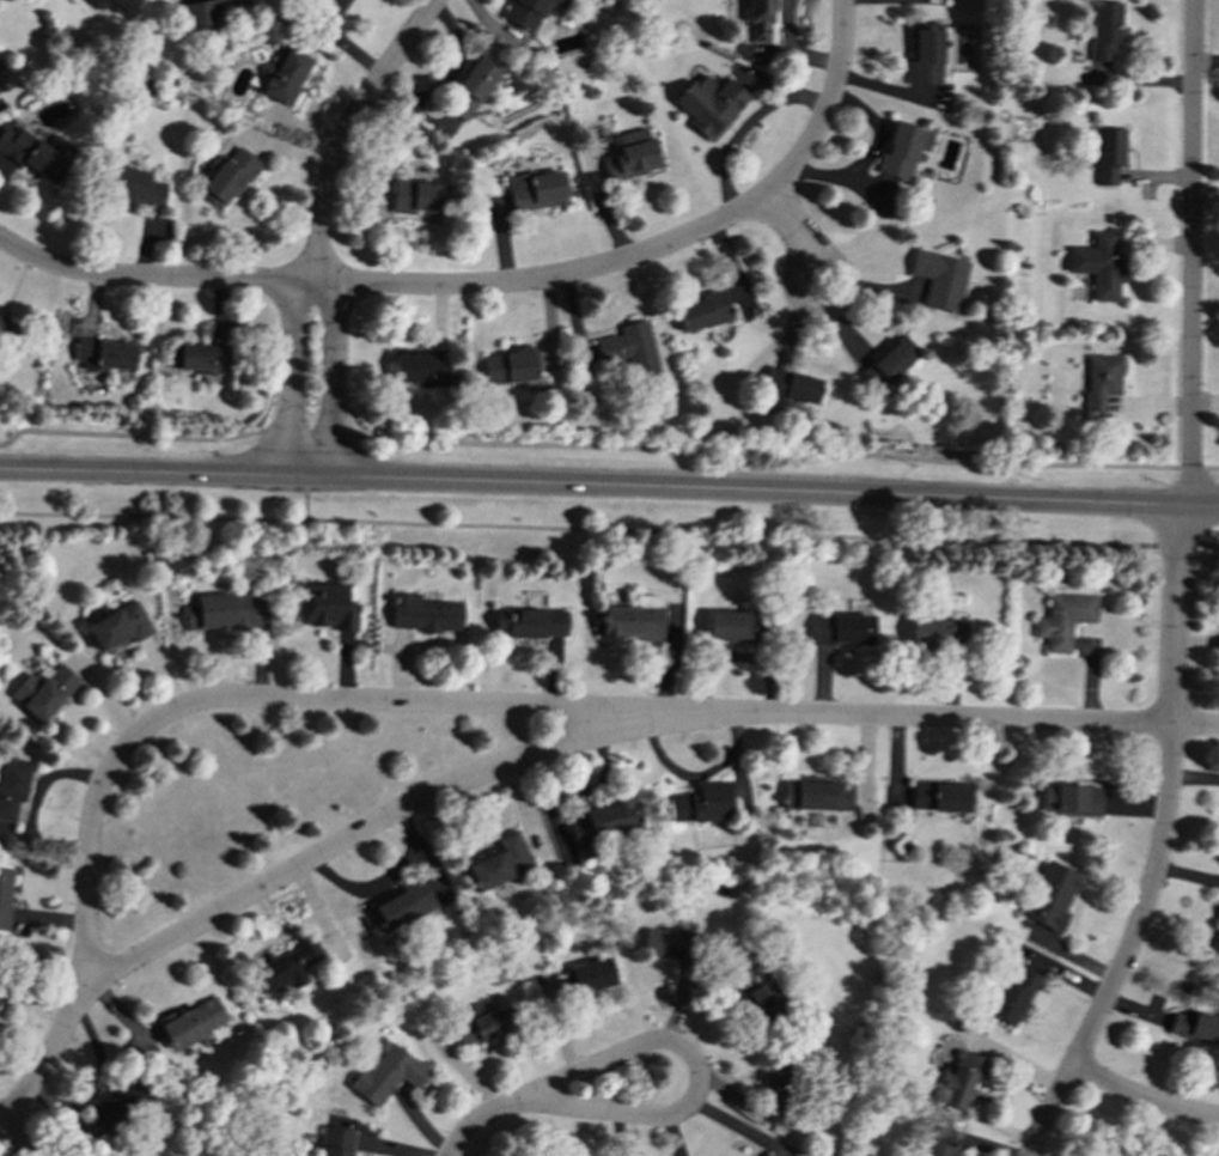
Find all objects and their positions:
building: (331, 6)
building: (116, 7)
building: (209, 12)
building: (528, 13)
building: (757, 20)
building: (1104, 29)
building: (924, 55)
building: (282, 75)
building: (470, 86)
building: (708, 103)
road: (346, 132)
building: (901, 150)
building: (36, 153)
building: (1109, 154)
building: (632, 156)
building: (226, 176)
building: (134, 185)
building: (534, 189)
building: (417, 197)
road: (784, 224)
road: (651, 251)
road: (1190, 254)
building: (1098, 264)
road: (790, 275)
road: (151, 279)
building: (939, 279)
road: (845, 291)
building: (702, 311)
building: (7, 329)
building: (629, 348)
building: (104, 354)
building: (199, 357)
building: (889, 361)
building: (508, 365)
building: (419, 367)
road: (331, 377)
road: (288, 379)
building: (1099, 379)
building: (791, 387)
road: (307, 433)
road: (126, 436)
road: (764, 463)
road: (1187, 467)
road: (1211, 467)
road: (609, 487)
road: (305, 499)
road: (609, 529)
building: (325, 607)
building: (217, 612)
building: (423, 614)
building: (1063, 619)
building: (529, 622)
building: (630, 622)
building: (118, 626)
building: (733, 626)
building: (841, 629)
building: (935, 632)
building: (42, 692)
road: (437, 702)
road: (1195, 726)
building: (12, 786)
building: (940, 796)
building: (813, 797)
building: (1069, 799)
building: (701, 803)
building: (598, 825)
road: (368, 827)
road: (1159, 845)
building: (499, 863)
building: (1050, 895)
building: (5, 899)
building: (401, 906)
building: (668, 943)
building: (285, 966)
building: (585, 976)
building: (757, 993)
building: (1011, 997)
building: (191, 1022)
building: (480, 1022)
building: (1194, 1027)
building: (386, 1073)
building: (959, 1078)
building: (782, 1084)
road: (1144, 1099)
road: (683, 1107)
building: (117, 1108)
road: (488, 1117)
road: (16, 1139)
building: (335, 1142)
building: (934, 1149)
building: (762, 1155)

